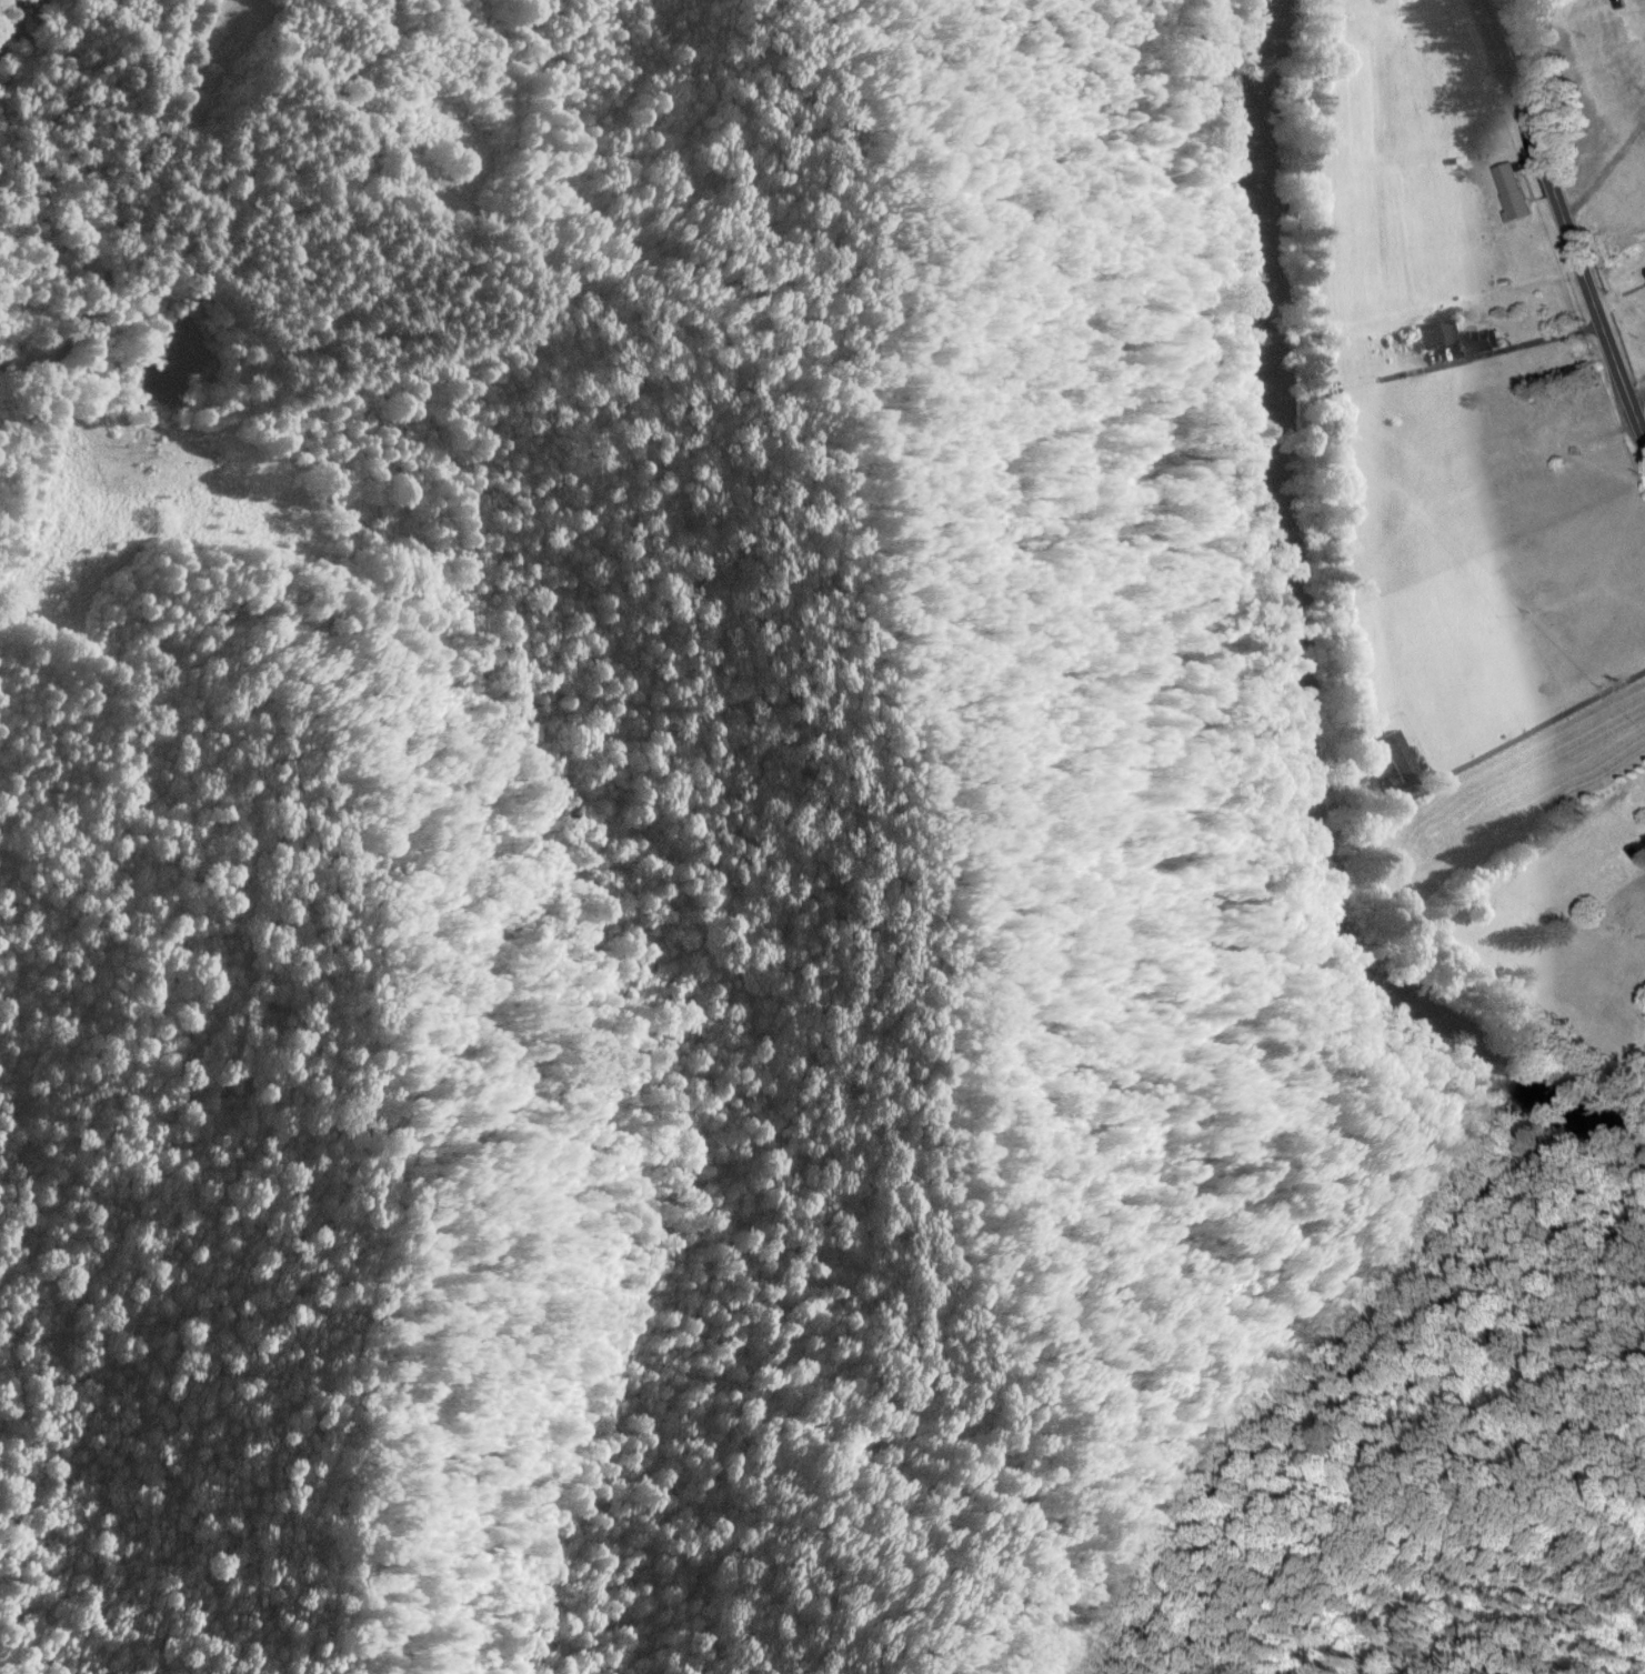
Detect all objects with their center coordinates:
river: (13, 23)
building: (1632, 67)
building: (1508, 193)
road: (1563, 220)
road: (89, 265)
building: (1644, 270)
building: (1456, 339)
building: (1574, 409)
river: (1296, 660)
building: (1400, 755)

